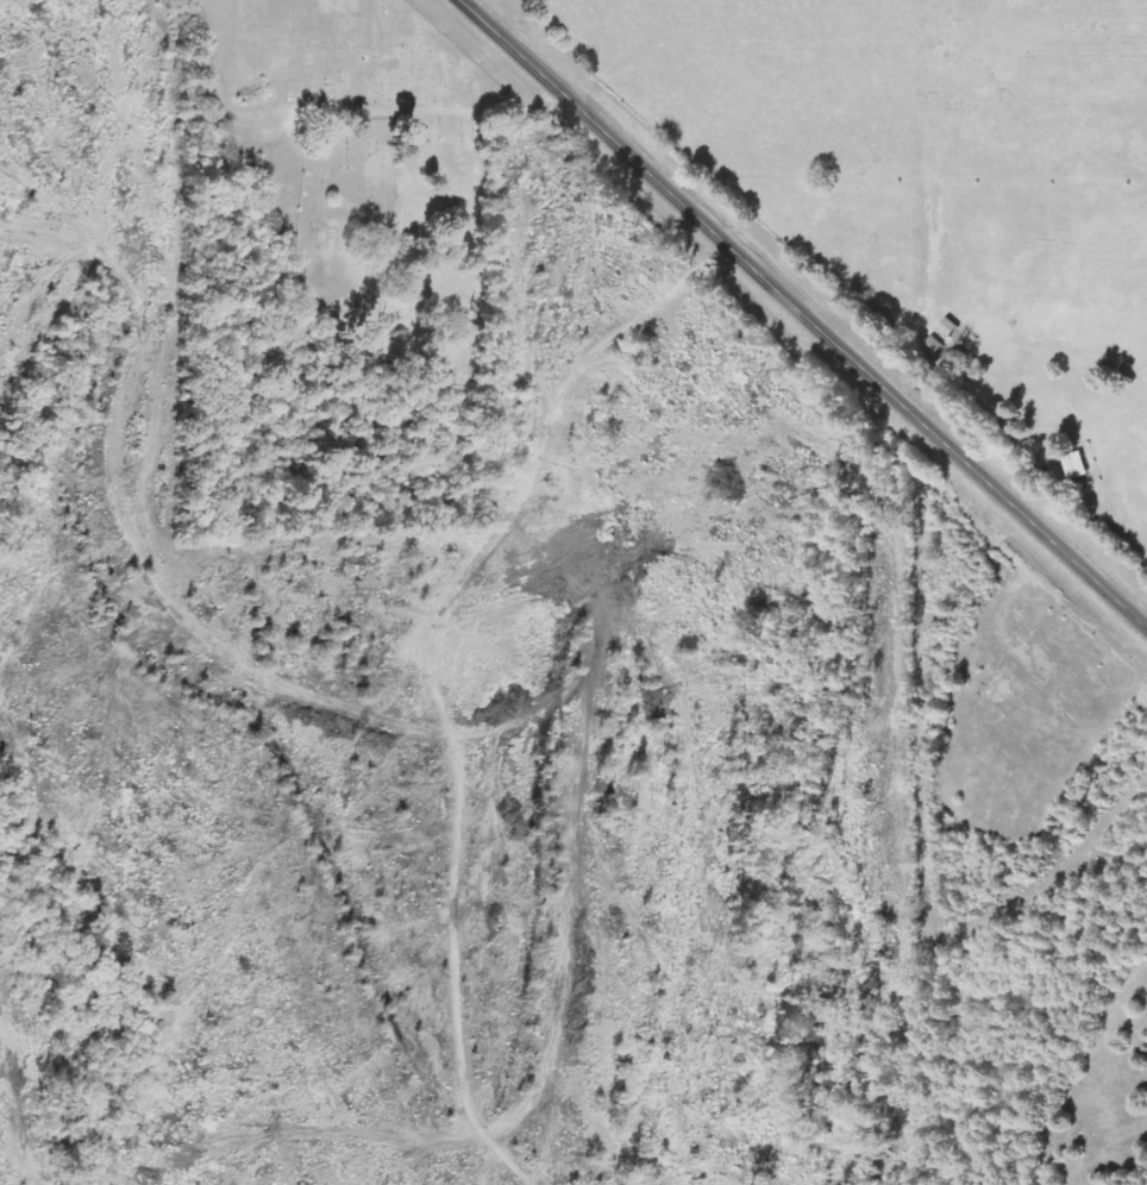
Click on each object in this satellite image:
park: (372, 152)
road: (250, 277)
road: (804, 313)

